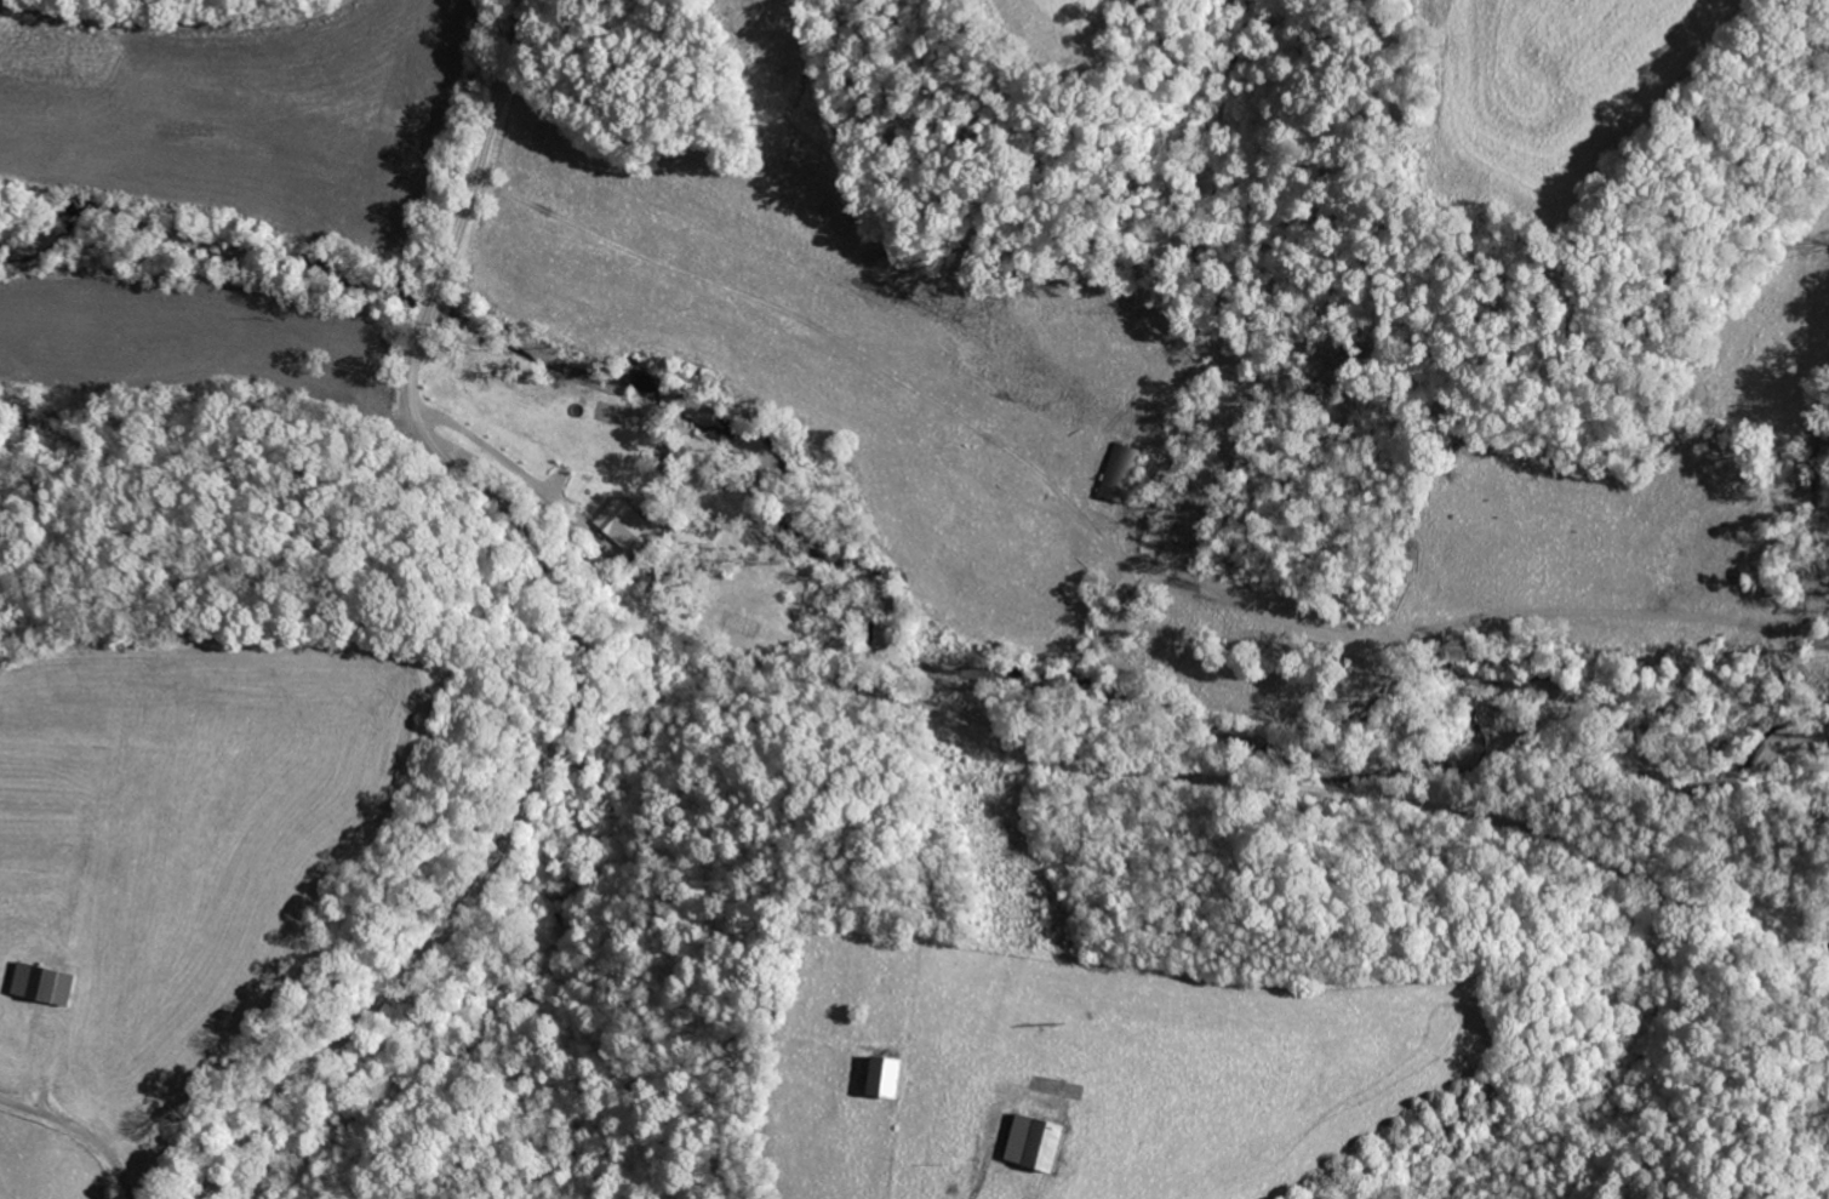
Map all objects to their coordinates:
road: (171, 24)
building: (623, 524)
road: (575, 621)
road: (1046, 773)
building: (44, 982)
building: (890, 1077)
building: (1040, 1142)
road: (91, 1146)

